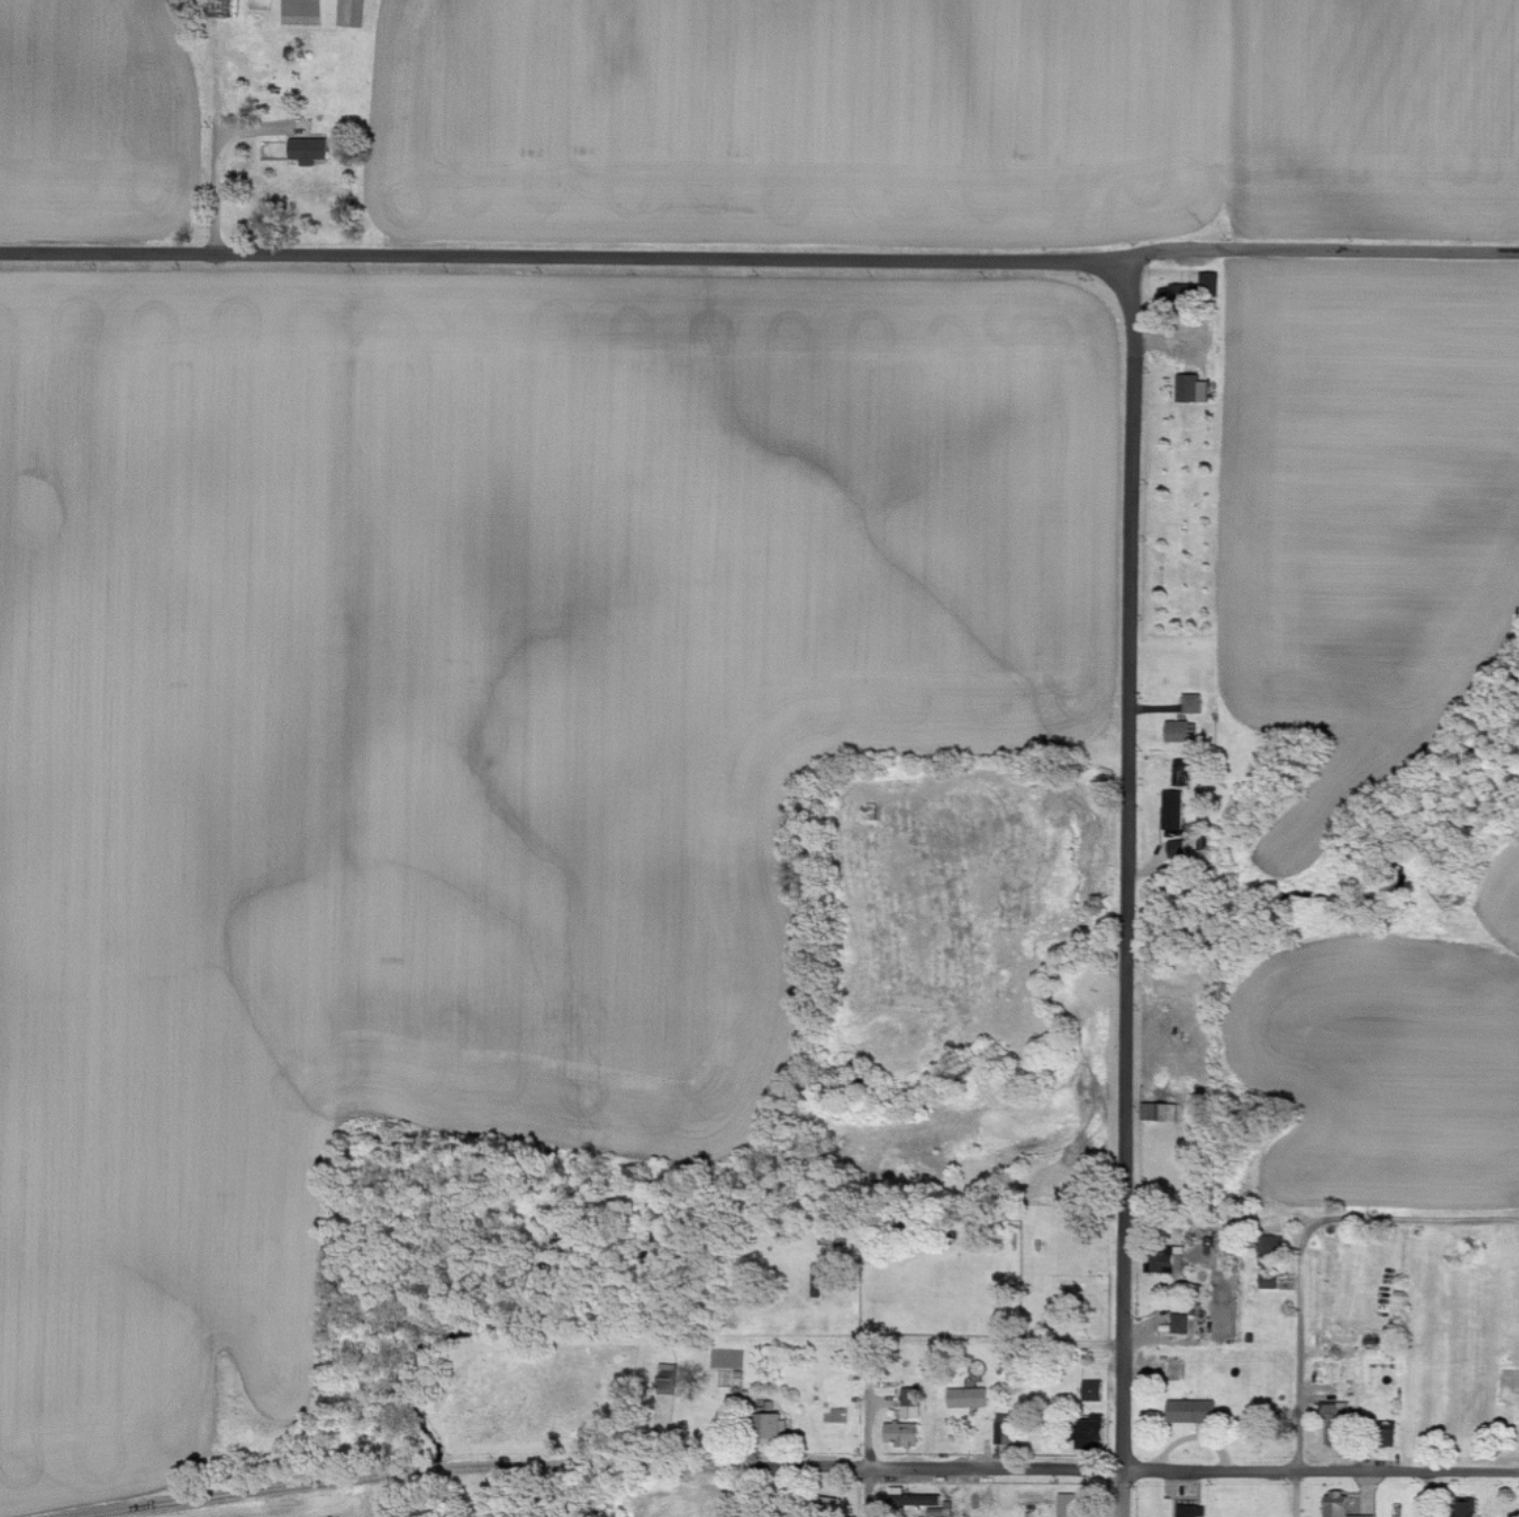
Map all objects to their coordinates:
road: (1248, 123)
building: (311, 150)
road: (215, 163)
road: (759, 255)
building: (1197, 285)
building: (1194, 388)
building: (1194, 703)
road: (1112, 731)
building: (1181, 731)
building: (1185, 770)
building: (1175, 810)
building: (1179, 849)
building: (1157, 1112)
road: (1412, 1221)
building: (1275, 1246)
building: (1163, 1263)
building: (1271, 1283)
building: (1182, 1324)
road: (1109, 1364)
road: (1297, 1372)
building: (669, 1377)
building: (1095, 1390)
building: (971, 1398)
building: (912, 1403)
road: (871, 1406)
building: (1194, 1411)
building: (776, 1426)
building: (1099, 1428)
building: (1006, 1429)
building: (905, 1434)
road: (491, 1466)
road: (1195, 1471)
road: (873, 1492)
building: (913, 1499)
building: (1073, 1505)
building: (1341, 1505)
building: (1468, 1509)
building: (1189, 1511)
building: (936, 1512)

